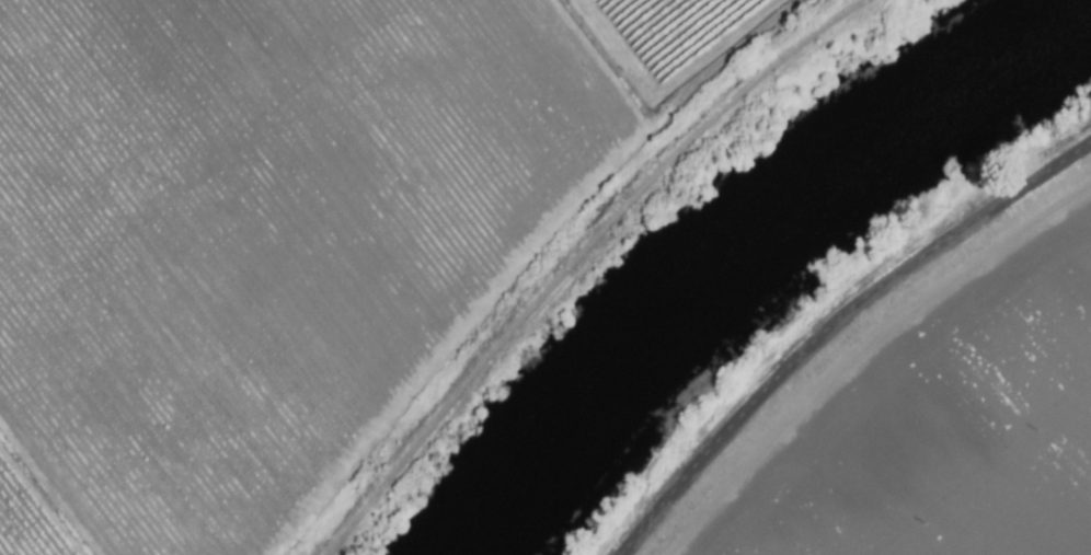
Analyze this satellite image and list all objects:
crop: (302, 241)
road: (576, 257)
road: (834, 322)
crop: (921, 403)

